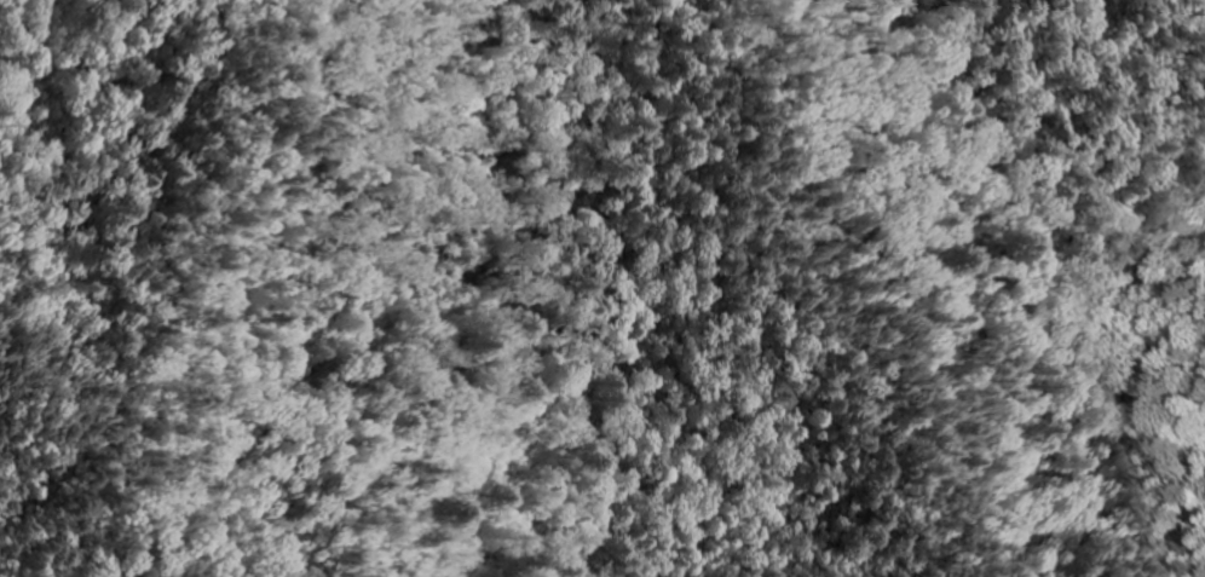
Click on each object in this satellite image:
road: (1085, 125)

